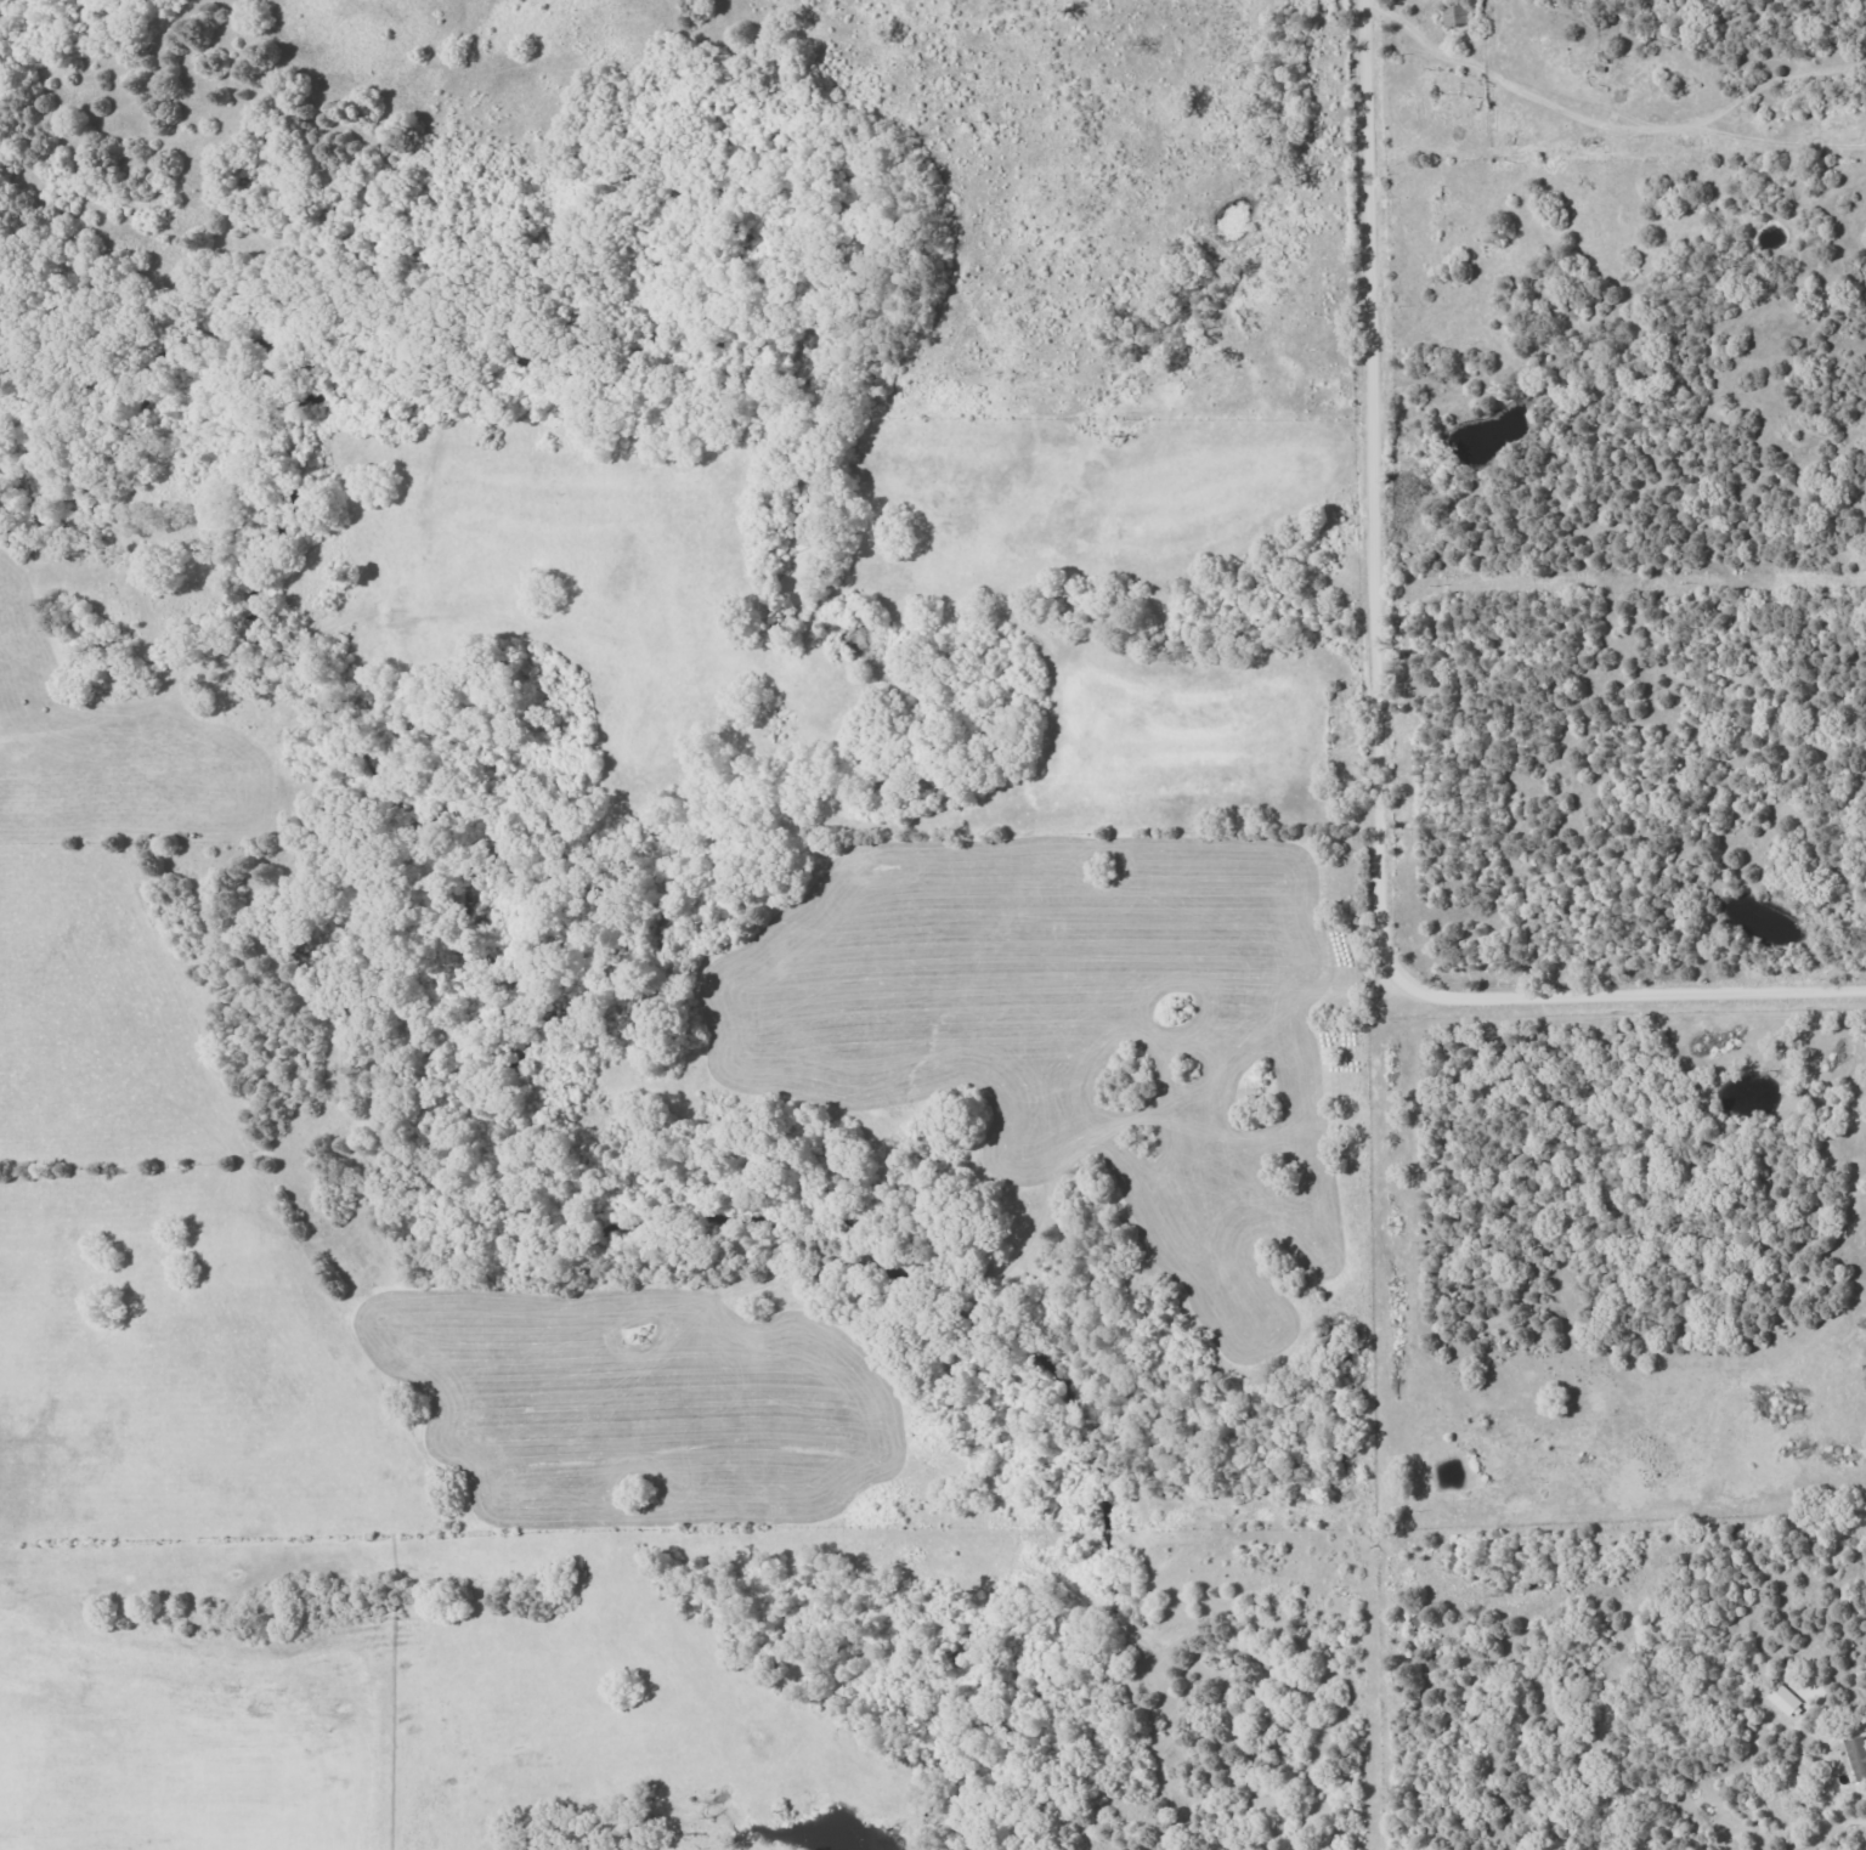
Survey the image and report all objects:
road: (1607, 130)
road: (1378, 729)
building: (1783, 1699)
building: (1855, 1755)

